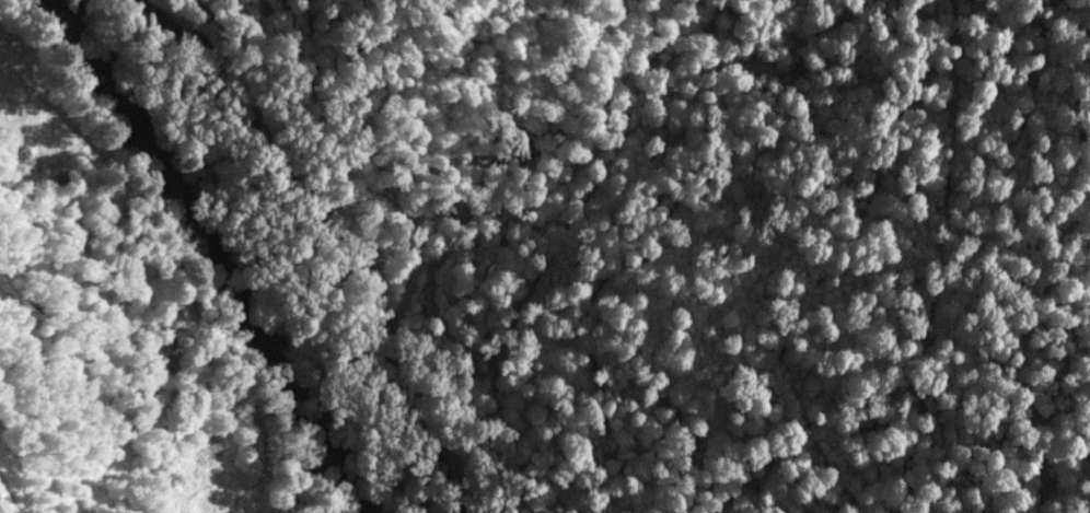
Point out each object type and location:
road: (329, 252)

